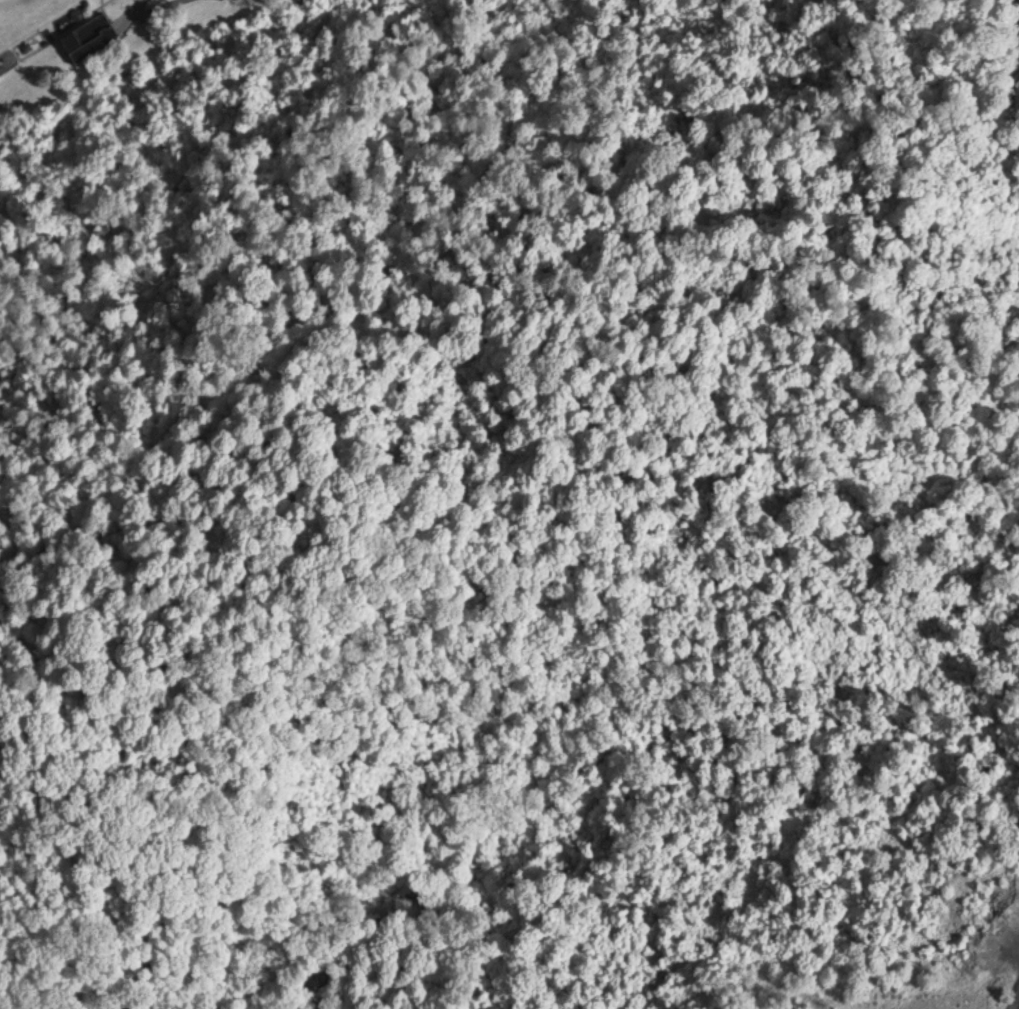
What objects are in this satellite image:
building: (90, 35)
road: (1017, 1005)

